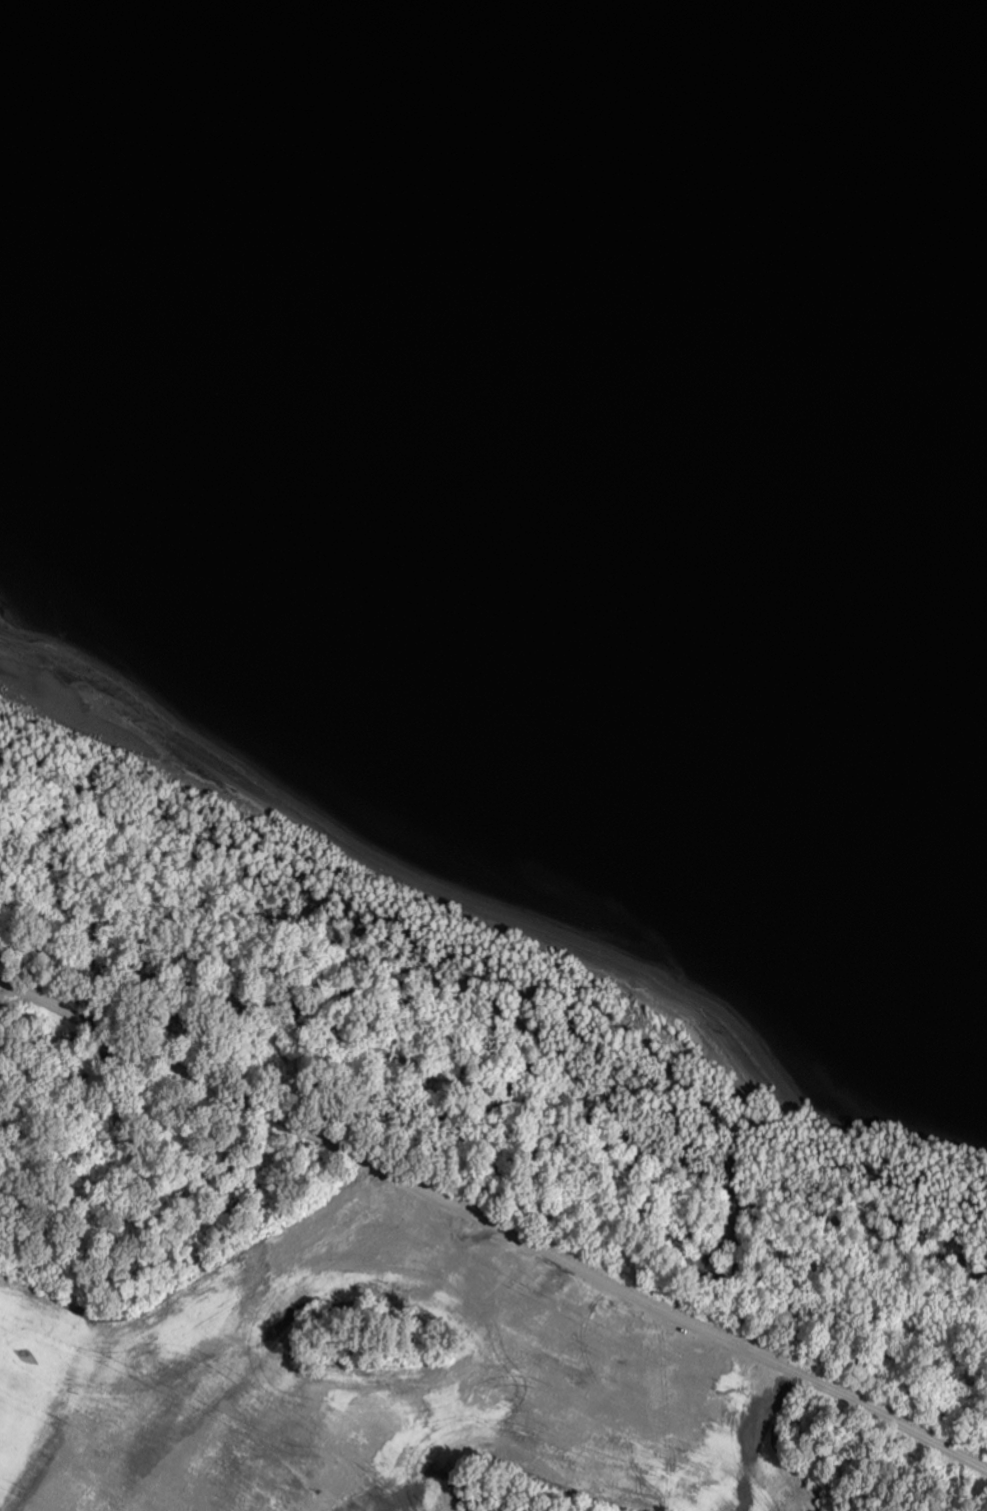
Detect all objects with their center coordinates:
river: (643, 175)
road: (494, 1223)

